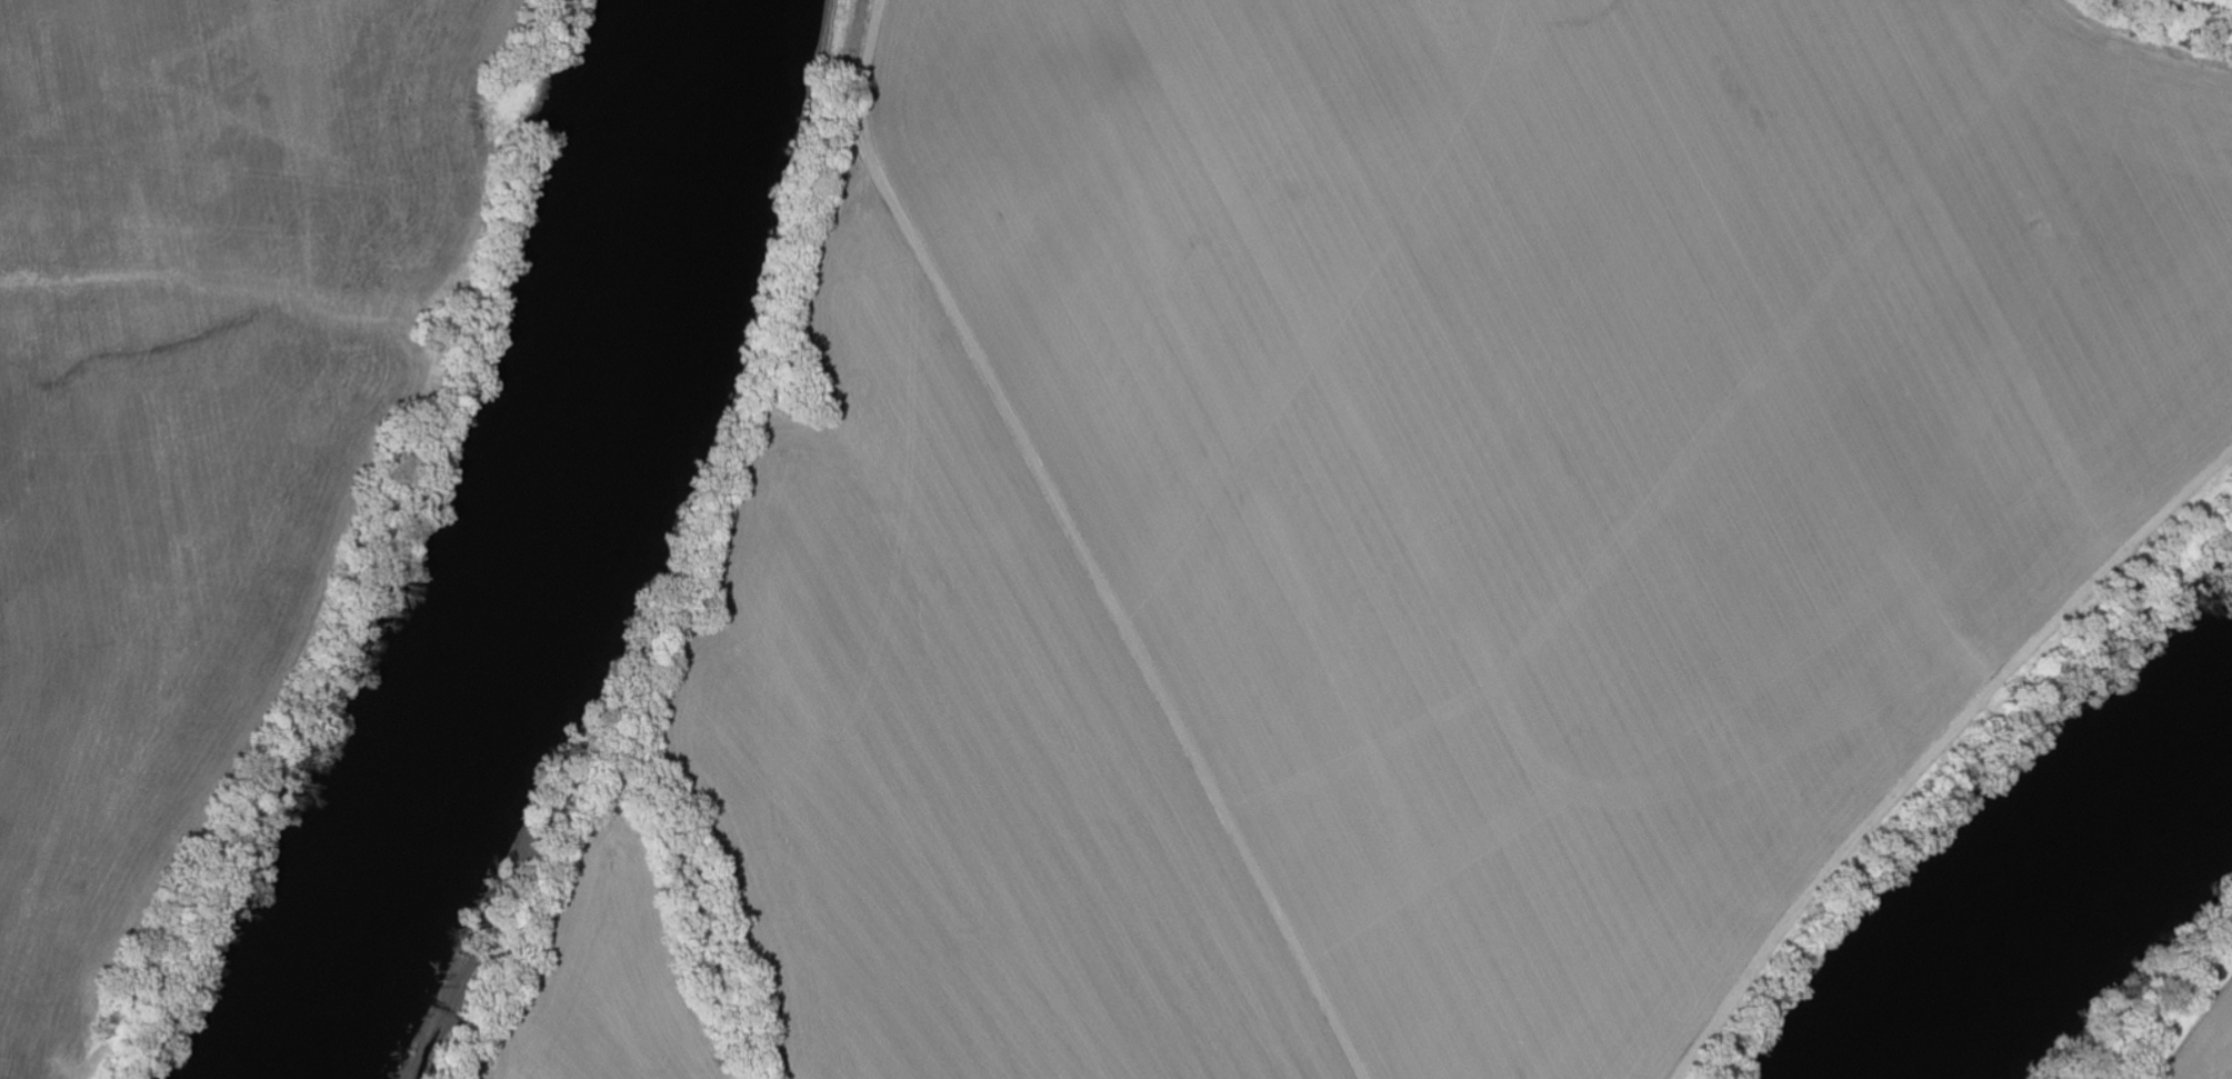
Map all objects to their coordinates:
river: (494, 557)
river: (2021, 862)

